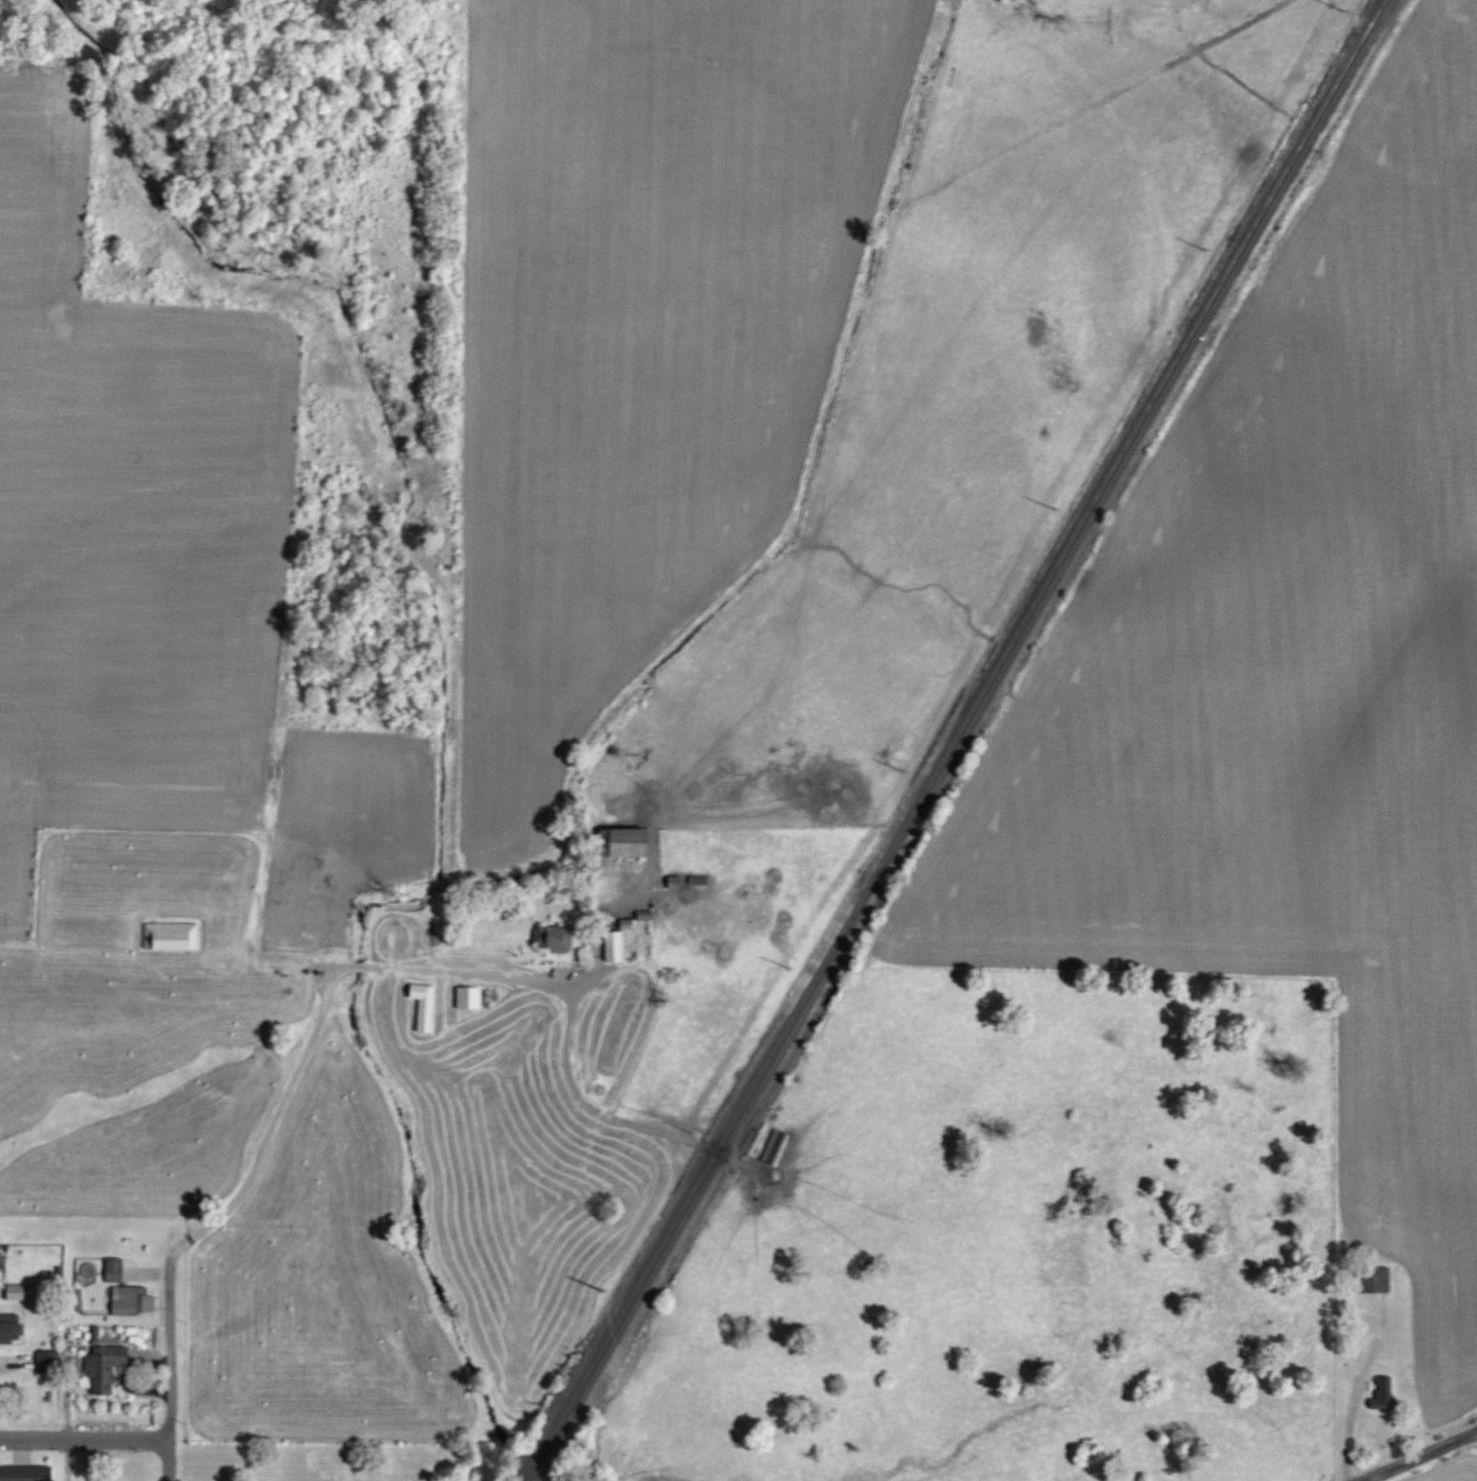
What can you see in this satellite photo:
railway: (954, 739)
building: (632, 842)
building: (175, 936)
building: (557, 938)
building: (618, 945)
building: (472, 997)
building: (428, 1006)
road: (322, 1012)
building: (779, 1146)
building: (1, 1259)
building: (117, 1269)
building: (1381, 1279)
building: (131, 1301)
building: (12, 1329)
road: (172, 1366)
building: (106, 1367)
road: (66, 1375)
building: (1382, 1401)
road: (84, 1439)
road: (1421, 1457)
building: (27, 1473)

